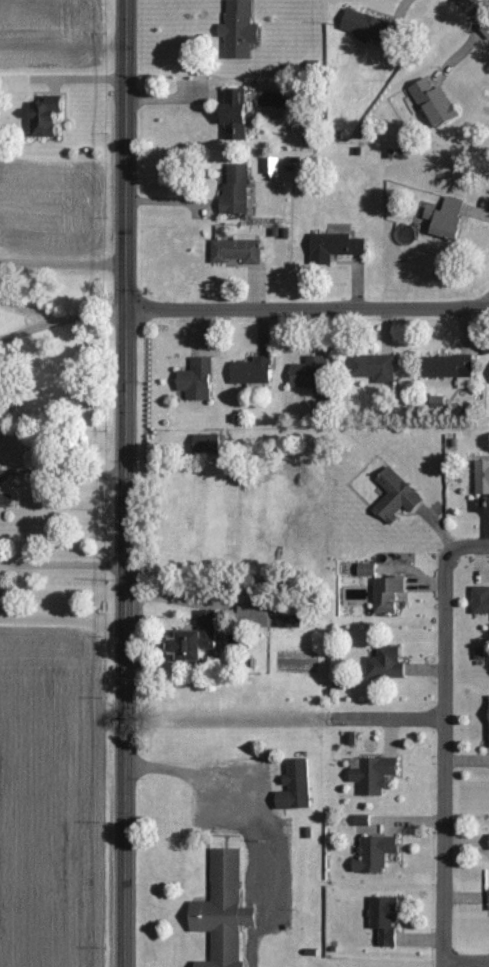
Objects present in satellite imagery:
road: (475, 13)
building: (371, 28)
building: (240, 29)
road: (67, 76)
road: (189, 96)
building: (436, 104)
building: (45, 114)
building: (236, 114)
building: (272, 166)
building: (236, 193)
road: (172, 200)
road: (125, 202)
building: (447, 218)
building: (404, 232)
building: (335, 247)
building: (237, 250)
road: (306, 309)
road: (61, 320)
building: (374, 367)
building: (451, 369)
building: (252, 372)
building: (312, 376)
building: (198, 381)
building: (208, 444)
building: (482, 478)
building: (397, 497)
road: (466, 550)
road: (61, 563)
building: (367, 569)
building: (388, 594)
building: (481, 599)
building: (255, 614)
building: (288, 621)
building: (198, 638)
building: (387, 663)
road: (123, 686)
road: (443, 759)
building: (374, 774)
building: (296, 786)
building: (368, 825)
building: (376, 854)
building: (224, 910)
building: (386, 919)
road: (465, 960)

